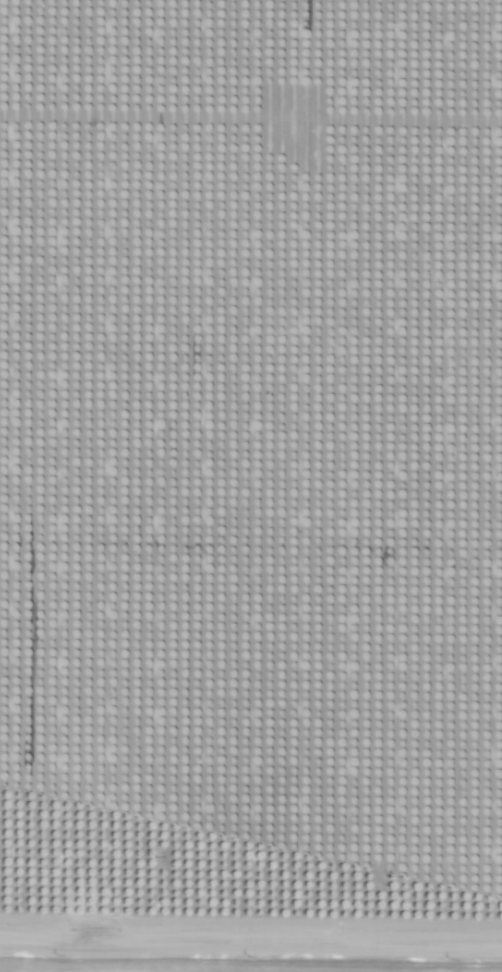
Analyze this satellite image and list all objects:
road: (251, 940)

